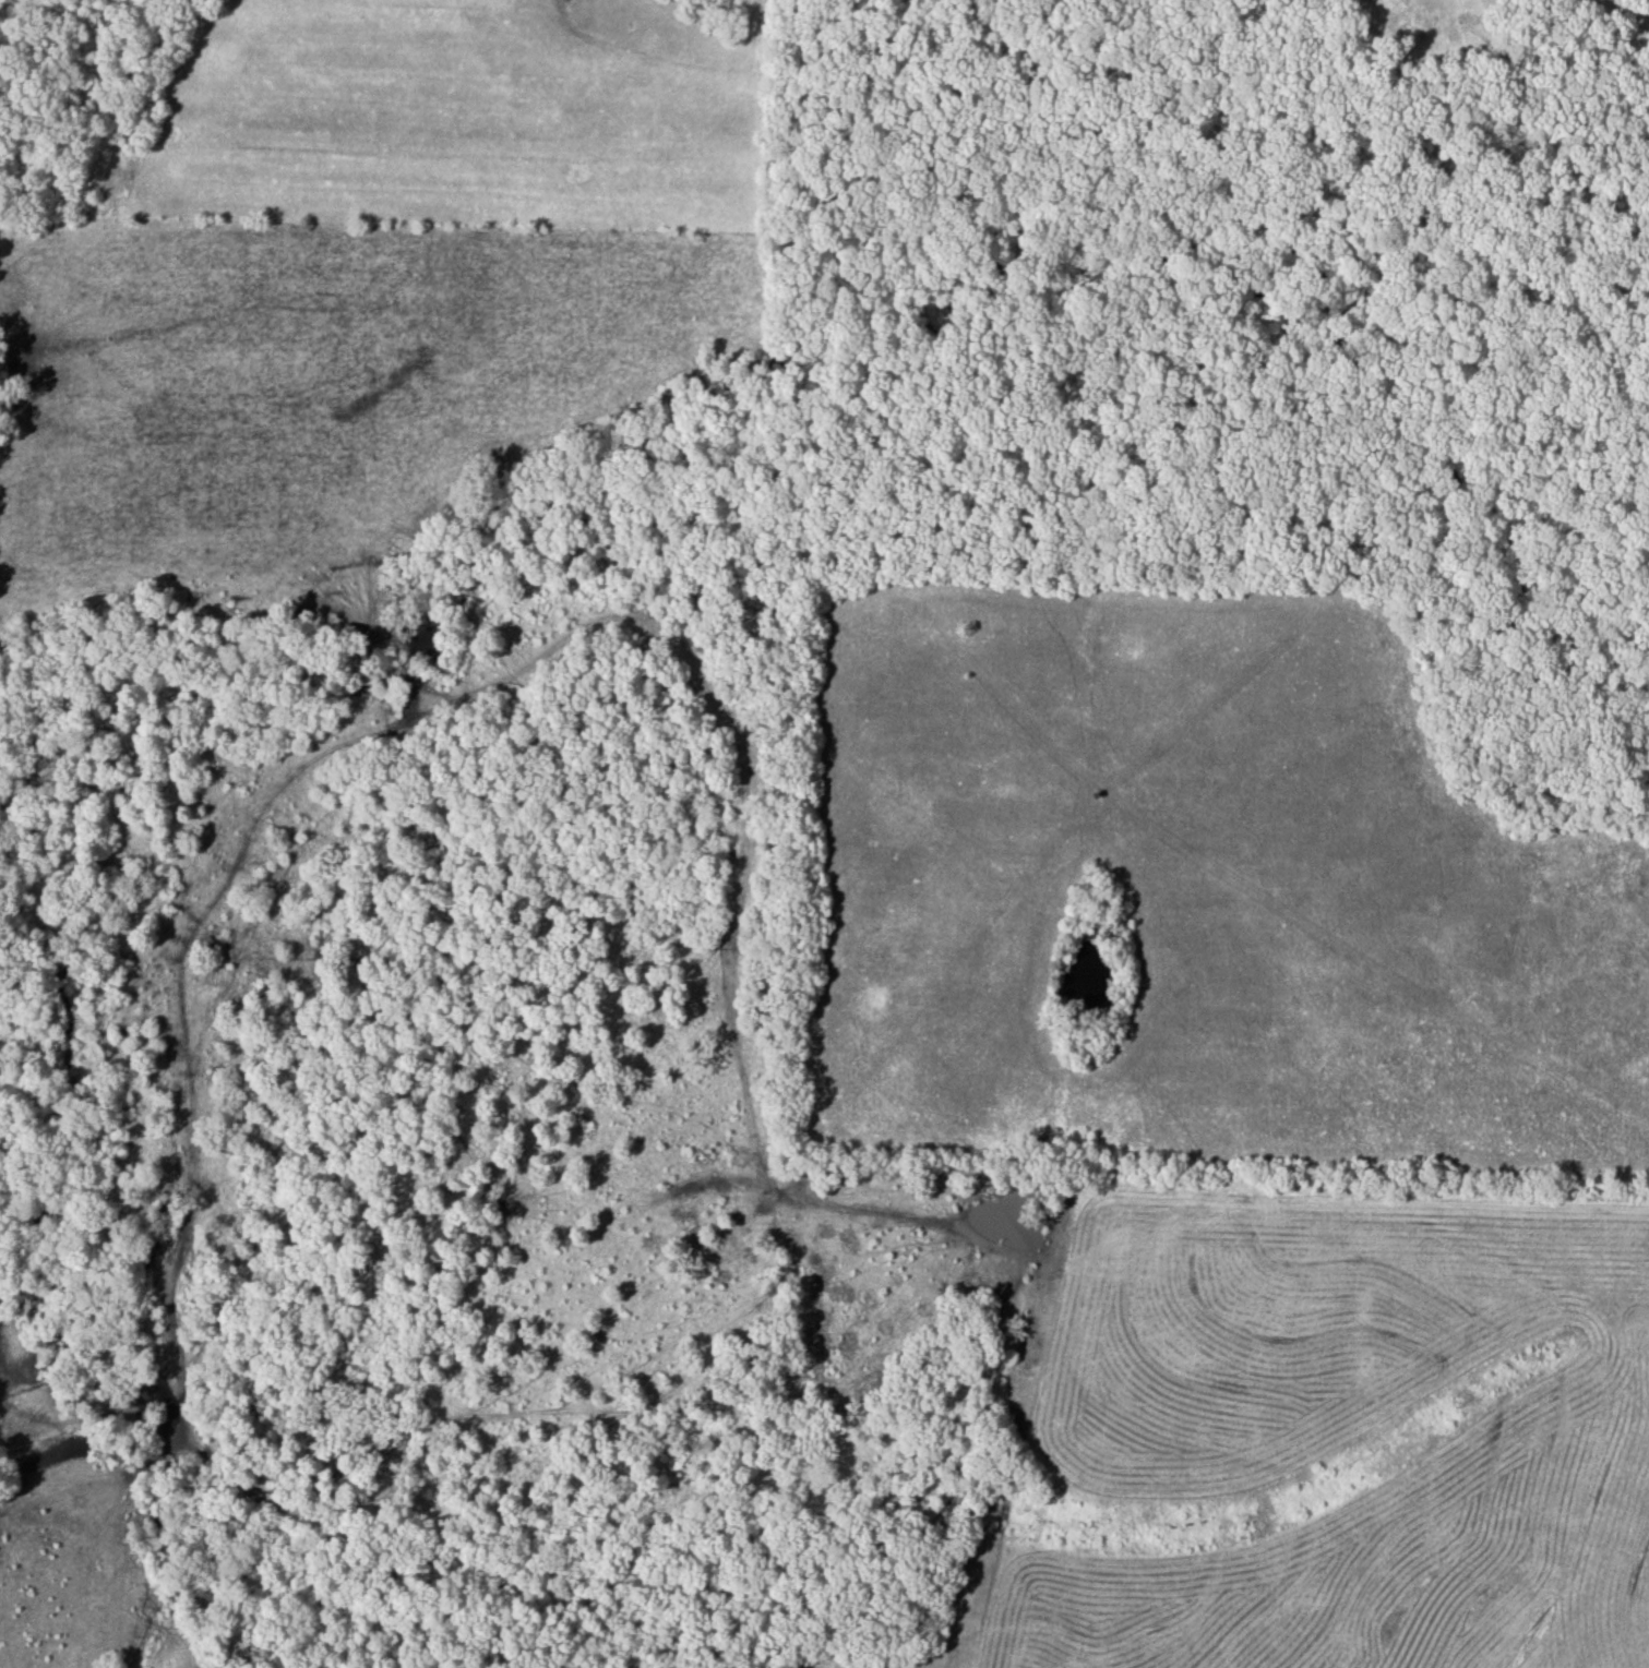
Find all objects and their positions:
power tower: (13, 1393)

